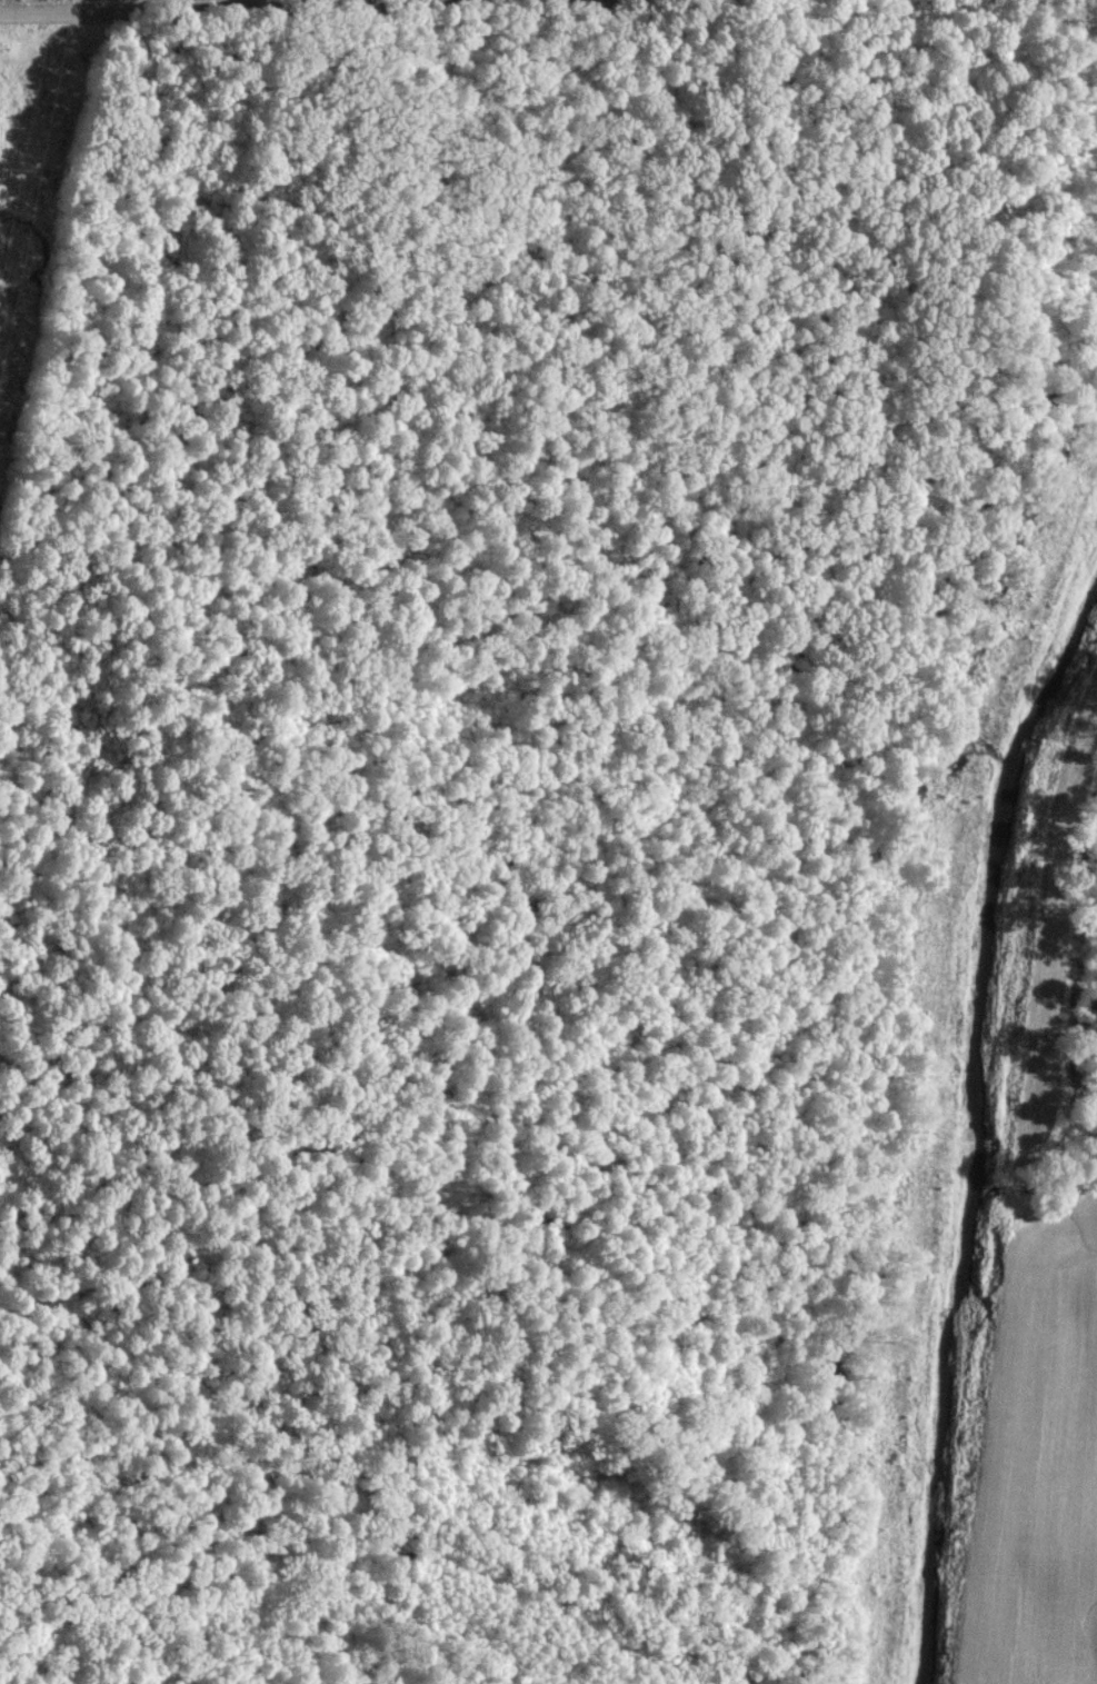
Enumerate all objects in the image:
road: (300, 14)

